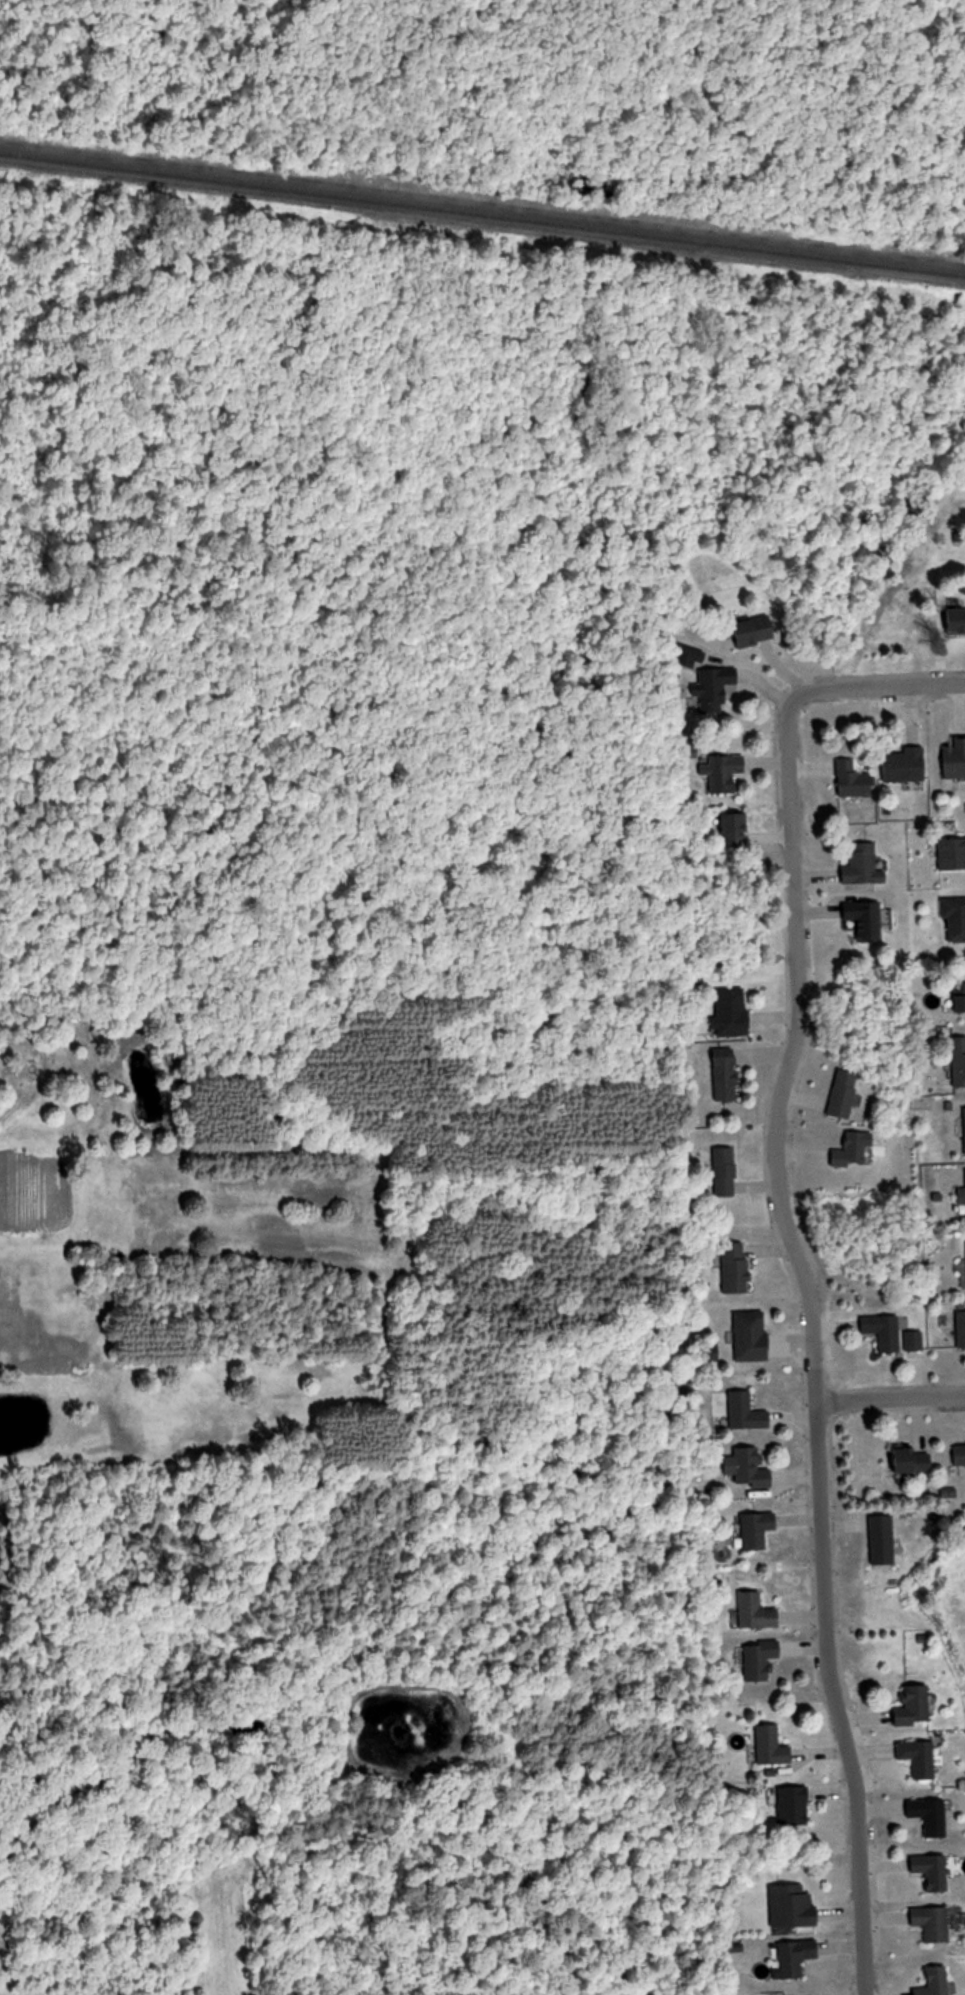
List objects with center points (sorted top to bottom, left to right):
railway: (482, 214)
park: (418, 447)
building: (956, 620)
building: (755, 630)
road: (877, 689)
building: (725, 691)
building: (954, 758)
building: (904, 764)
building: (724, 772)
building: (853, 779)
building: (735, 830)
building: (952, 854)
building: (863, 866)
building: (954, 916)
building: (865, 920)
building: (959, 997)
building: (731, 1011)
building: (959, 1061)
building: (726, 1075)
road: (34, 1087)
building: (842, 1094)
building: (853, 1150)
building: (724, 1172)
building: (735, 1268)
building: (962, 1329)
building: (884, 1332)
building: (751, 1336)
building: (914, 1342)
road: (813, 1345)
road: (890, 1398)
building: (746, 1413)
building: (959, 1454)
building: (913, 1461)
building: (752, 1469)
building: (758, 1530)
building: (883, 1540)
building: (757, 1612)
building: (760, 1660)
building: (915, 1707)
building: (772, 1747)
building: (919, 1758)
building: (794, 1806)
building: (930, 1816)
building: (932, 1872)
building: (793, 1906)
building: (933, 1924)
building: (797, 1958)
building: (934, 1982)

